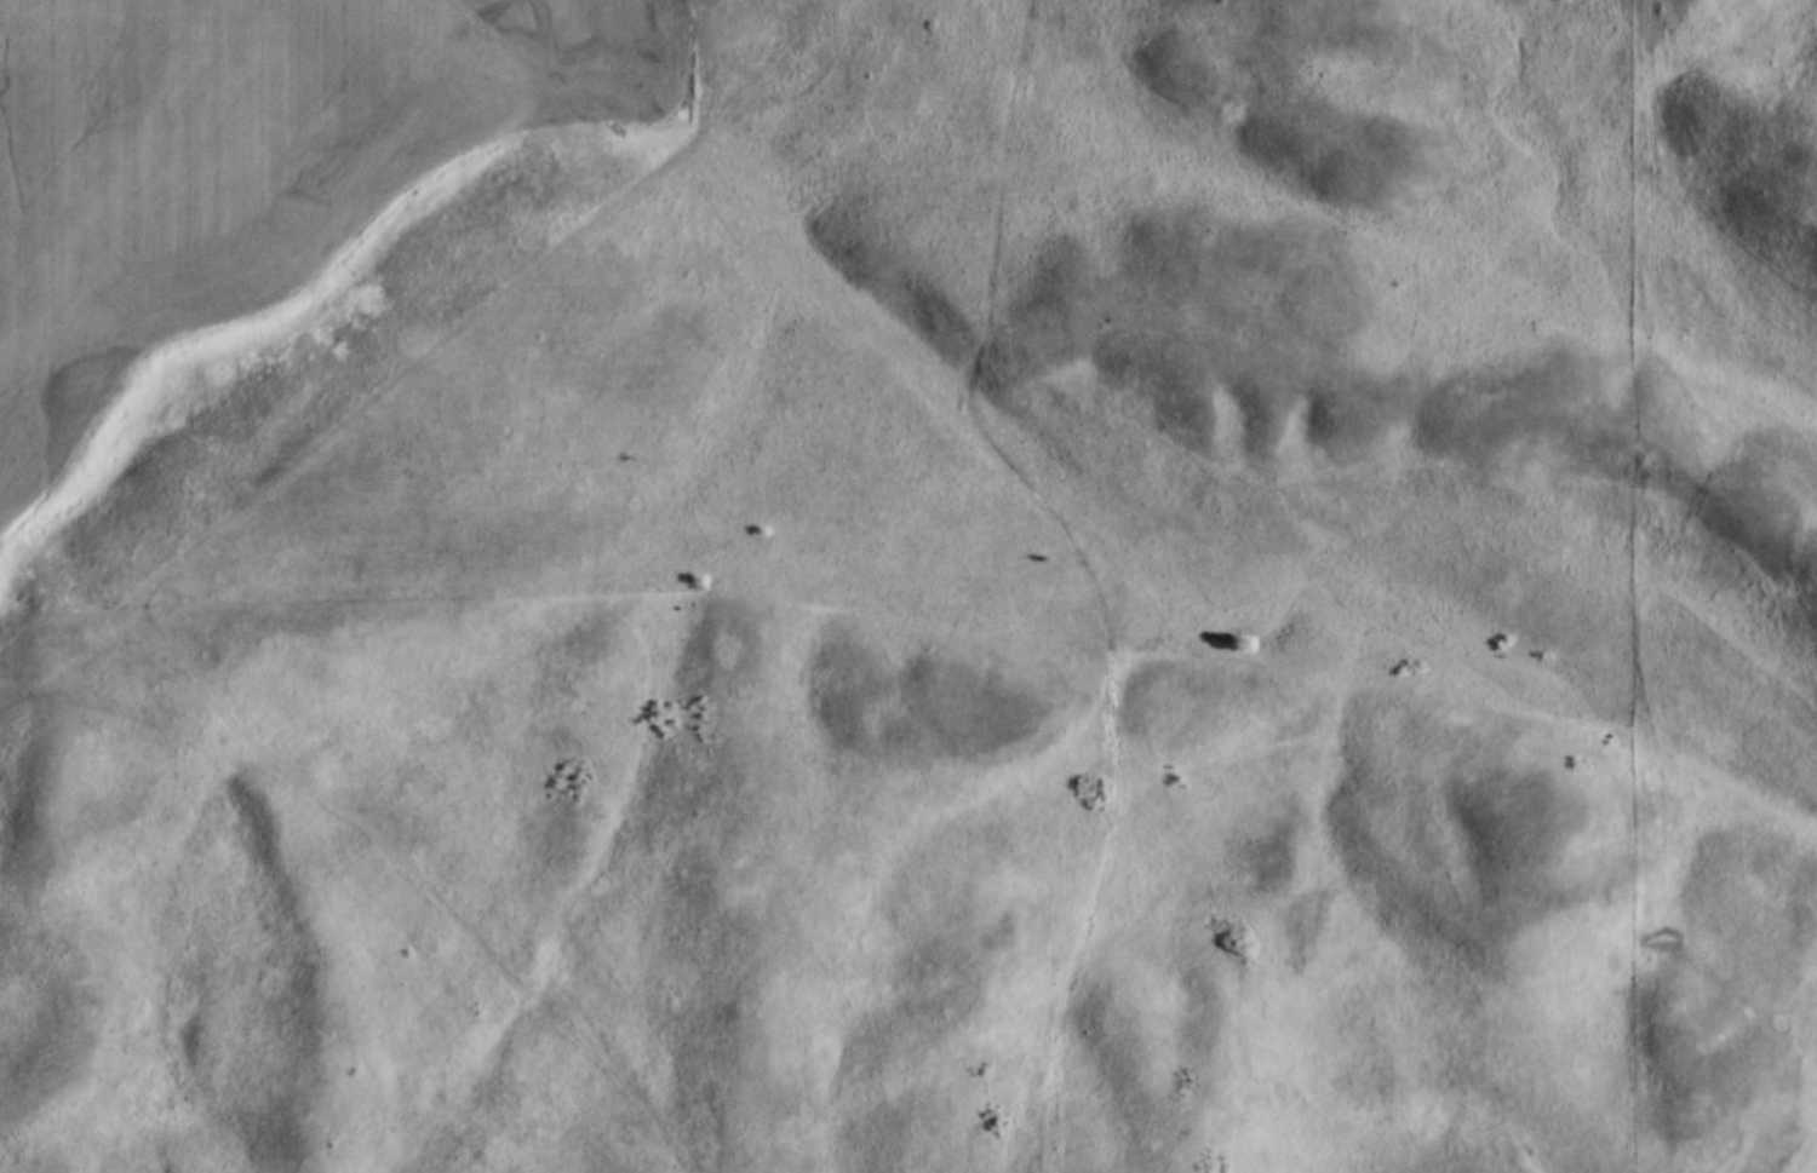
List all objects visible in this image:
road: (1643, 448)

